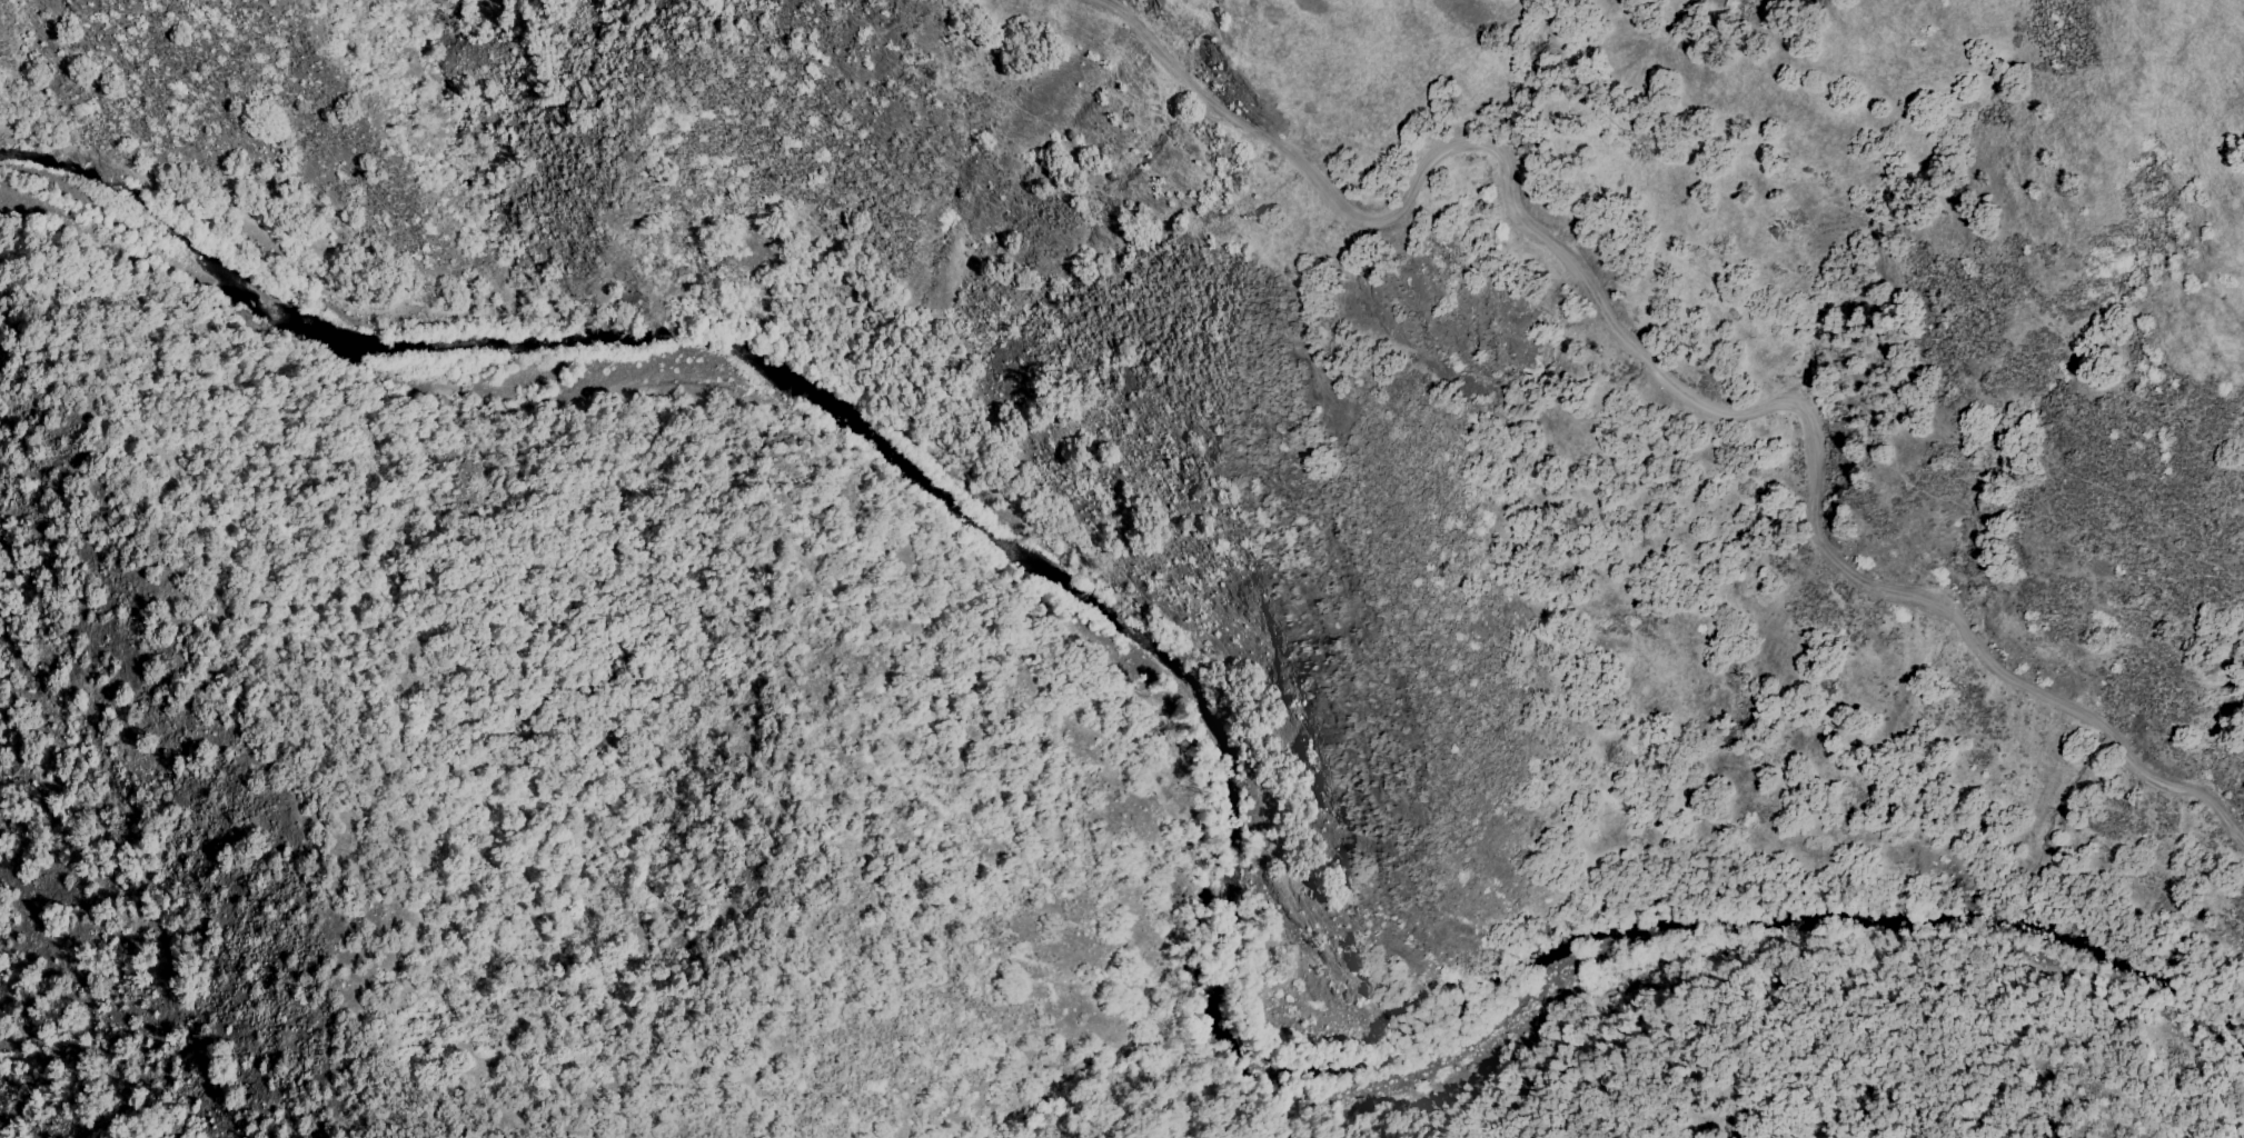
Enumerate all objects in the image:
river: (232, 270)
road: (1650, 363)

